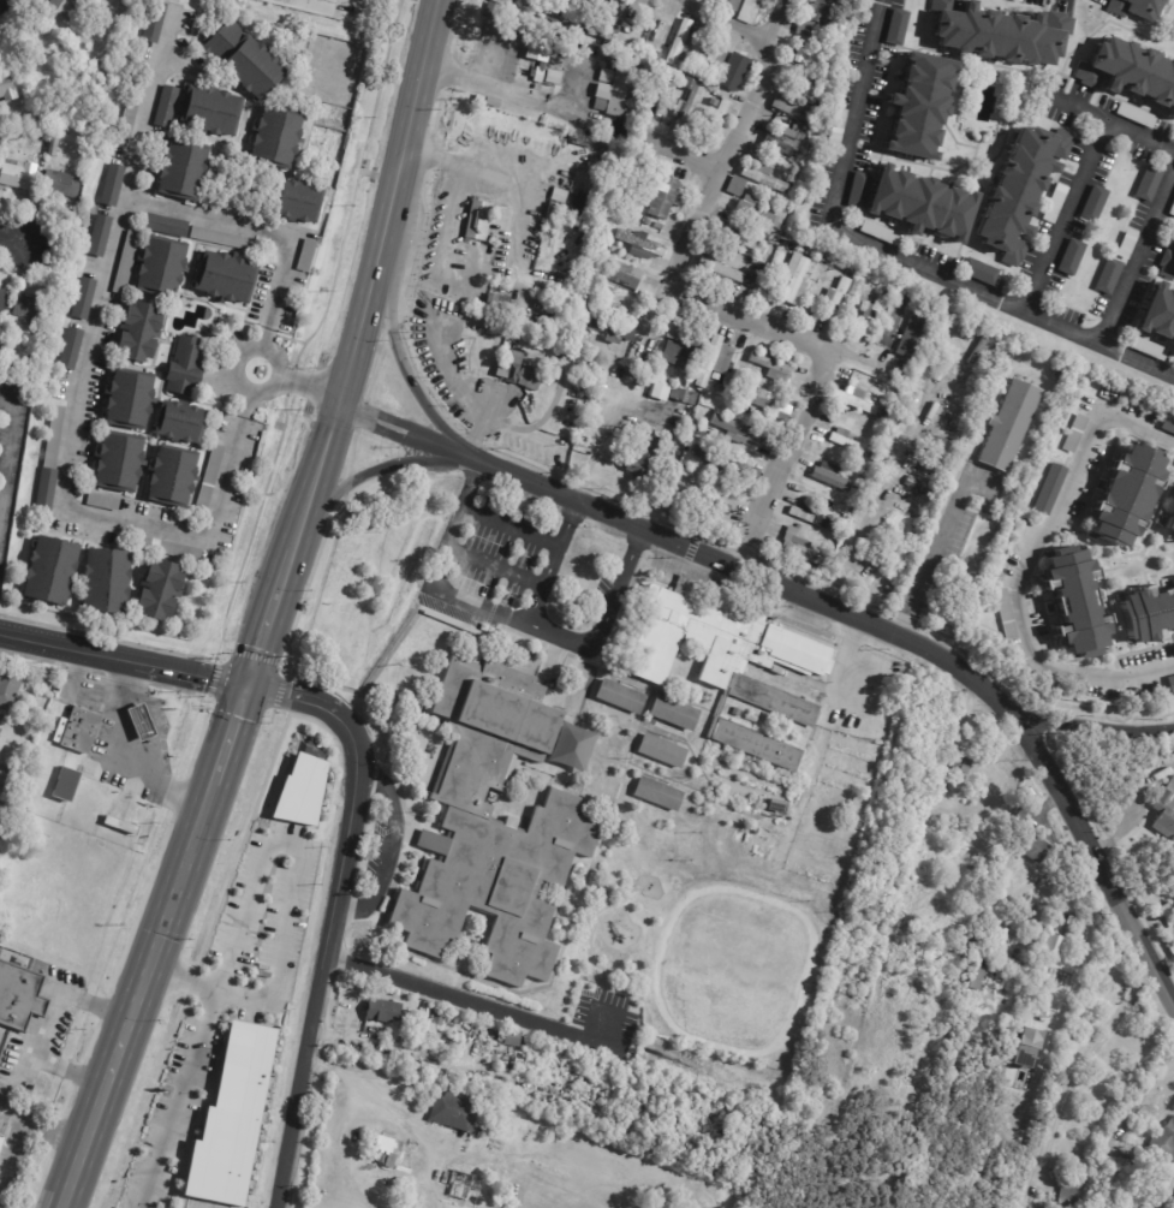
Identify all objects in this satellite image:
road: (1, 0)
building: (1013, 0)
road: (314, 1)
building: (726, 5)
building: (66, 8)
building: (1134, 8)
building: (577, 10)
building: (747, 11)
building: (815, 11)
building: (614, 19)
building: (156, 23)
road: (727, 25)
building: (801, 28)
building: (894, 28)
building: (651, 30)
building: (999, 35)
building: (678, 43)
building: (537, 49)
building: (799, 52)
building: (852, 53)
building: (656, 55)
building: (711, 55)
building: (249, 60)
building: (517, 67)
building: (735, 67)
building: (555, 69)
building: (1130, 75)
building: (687, 79)
building: (656, 88)
road: (507, 89)
building: (7, 90)
building: (622, 90)
building: (726, 93)
building: (662, 102)
building: (710, 102)
building: (687, 107)
building: (918, 107)
building: (168, 108)
building: (787, 109)
road: (145, 111)
building: (211, 112)
building: (132, 113)
building: (1133, 115)
building: (715, 120)
building: (834, 129)
building: (17, 132)
road: (1139, 137)
building: (279, 138)
building: (782, 139)
building: (621, 167)
building: (184, 171)
road: (484, 171)
building: (20, 175)
building: (763, 179)
building: (64, 184)
building: (1146, 184)
building: (630, 185)
building: (114, 186)
building: (734, 186)
building: (1019, 191)
road: (1074, 191)
road: (457, 192)
building: (558, 195)
building: (665, 197)
building: (913, 200)
building: (304, 204)
building: (1053, 204)
building: (1091, 206)
building: (549, 209)
building: (753, 209)
building: (776, 210)
building: (1173, 210)
building: (561, 214)
building: (475, 221)
building: (646, 221)
building: (779, 225)
building: (166, 226)
building: (658, 226)
building: (877, 233)
building: (101, 237)
road: (17, 240)
building: (225, 240)
building: (770, 240)
building: (746, 242)
building: (636, 243)
building: (1125, 245)
building: (793, 250)
building: (309, 256)
road: (893, 256)
building: (1068, 258)
building: (1169, 258)
road: (1138, 260)
building: (153, 267)
building: (834, 268)
road: (374, 270)
building: (719, 270)
building: (977, 272)
building: (621, 275)
building: (1107, 276)
building: (227, 279)
building: (746, 280)
building: (793, 280)
building: (883, 291)
building: (835, 294)
road: (701, 297)
building: (84, 299)
building: (4, 303)
building: (494, 305)
building: (31, 309)
building: (1157, 315)
building: (871, 316)
building: (604, 327)
building: (139, 333)
building: (672, 333)
building: (967, 333)
building: (914, 334)
road: (261, 346)
building: (10, 349)
building: (1145, 349)
building: (71, 350)
building: (978, 350)
building: (1173, 352)
building: (677, 356)
road: (88, 359)
building: (708, 363)
road: (401, 364)
building: (186, 367)
building: (769, 368)
building: (518, 371)
building: (1059, 374)
building: (656, 375)
building: (719, 375)
road: (296, 387)
road: (248, 391)
road: (465, 394)
building: (753, 394)
building: (681, 397)
building: (854, 399)
building: (130, 400)
building: (780, 411)
building: (886, 415)
road: (398, 421)
building: (181, 423)
building: (1007, 426)
building: (1168, 426)
building: (733, 429)
building: (697, 430)
road: (10, 432)
building: (1074, 434)
road: (392, 435)
building: (842, 439)
building: (644, 456)
building: (935, 458)
building: (50, 462)
building: (120, 464)
building: (725, 464)
road: (2, 466)
road: (375, 470)
building: (173, 477)
building: (830, 477)
building: (213, 478)
road: (2, 487)
building: (1049, 488)
building: (1126, 494)
road: (882, 496)
building: (702, 500)
building: (105, 502)
building: (808, 516)
building: (1170, 523)
road: (509, 529)
building: (797, 529)
parking lot: (493, 548)
building: (172, 551)
building: (798, 552)
road: (745, 553)
road: (929, 560)
road: (550, 563)
road: (1030, 566)
road: (494, 567)
building: (53, 571)
building: (107, 583)
building: (160, 591)
parking lot: (598, 594)
building: (1075, 602)
road: (272, 611)
railway: (284, 612)
building: (1148, 614)
building: (1005, 615)
road: (509, 620)
road: (893, 632)
building: (725, 653)
road: (124, 659)
traffic signals: (249, 684)
building: (1170, 686)
building: (10, 688)
building: (621, 696)
road: (833, 698)
building: (675, 712)
building: (752, 718)
building: (138, 721)
road: (1092, 721)
building: (0, 722)
building: (81, 731)
road: (231, 734)
building: (756, 744)
building: (663, 750)
building: (1161, 751)
road: (124, 754)
building: (607, 761)
building: (954, 761)
building: (935, 769)
building: (67, 785)
building: (303, 790)
building: (661, 793)
building: (780, 809)
building: (1164, 813)
building: (2, 819)
building: (123, 826)
building: (494, 826)
building: (1029, 846)
road: (387, 851)
road: (298, 861)
road: (332, 911)
building: (1060, 915)
building: (948, 920)
building: (1049, 942)
road: (1081, 957)
road: (183, 977)
building: (975, 978)
road: (136, 995)
building: (19, 998)
road: (475, 1005)
building: (383, 1011)
building: (441, 1018)
parking lot: (603, 1020)
road: (47, 1024)
building: (425, 1025)
building: (491, 1030)
building: (518, 1039)
building: (1025, 1047)
road: (1079, 1063)
road: (1142, 1087)
road: (394, 1091)
road: (177, 1099)
building: (458, 1112)
building: (234, 1120)
road: (54, 1132)
building: (0, 1136)
building: (1166, 1138)
road: (17, 1142)
building: (1, 1145)
building: (386, 1149)
building: (464, 1184)
building: (1063, 1201)

